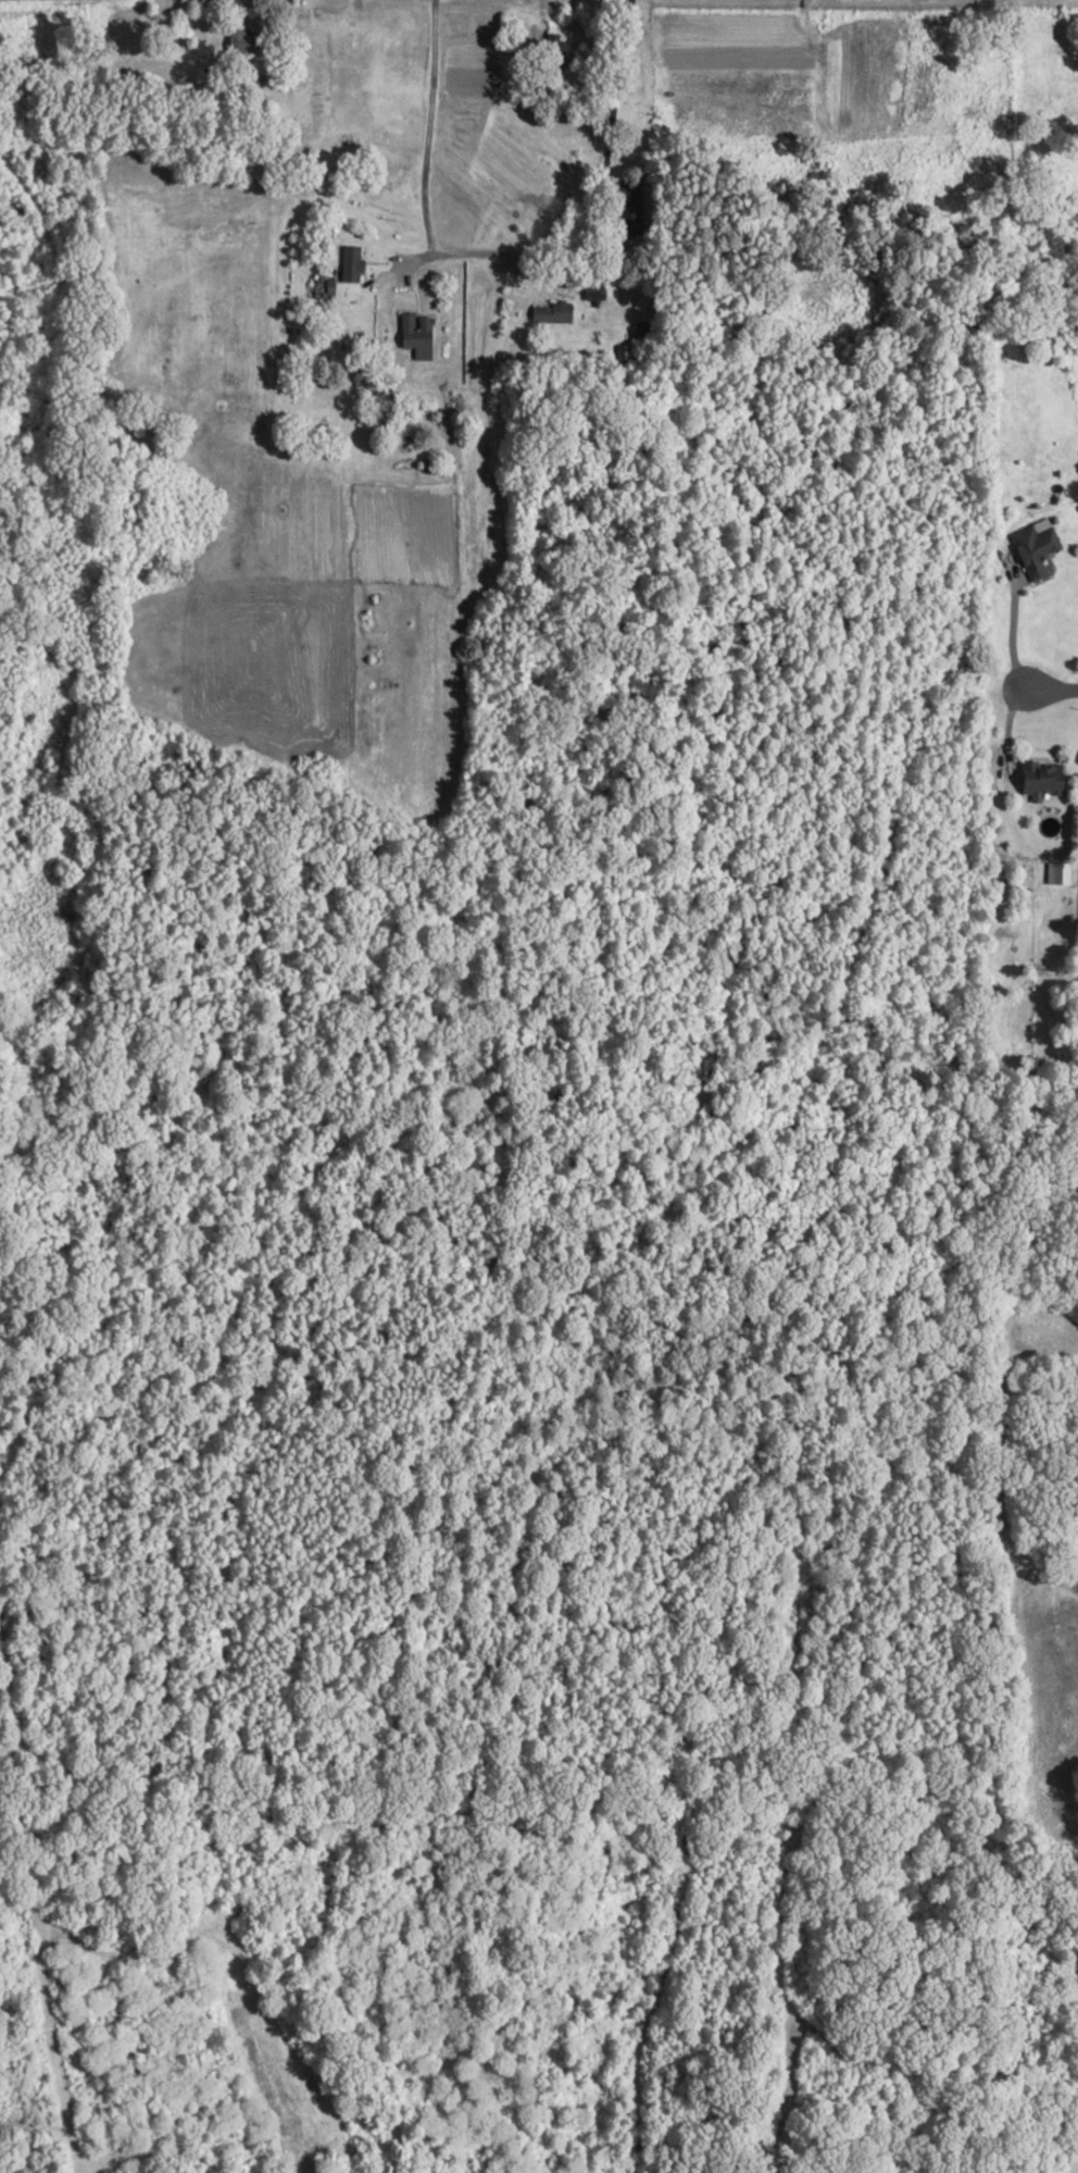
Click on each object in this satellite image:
road: (298, 9)
road: (540, 14)
building: (237, 42)
building: (551, 51)
road: (426, 128)
building: (623, 210)
road: (579, 231)
building: (349, 264)
road: (403, 274)
building: (328, 289)
building: (590, 294)
road: (60, 297)
road: (413, 297)
building: (549, 314)
building: (639, 328)
building: (414, 336)
building: (621, 356)
building: (404, 408)
building: (1031, 549)
road: (1041, 580)
road: (1010, 624)
road: (1051, 691)
road: (1006, 732)
building: (1035, 780)
building: (1056, 872)
road: (47, 2025)

